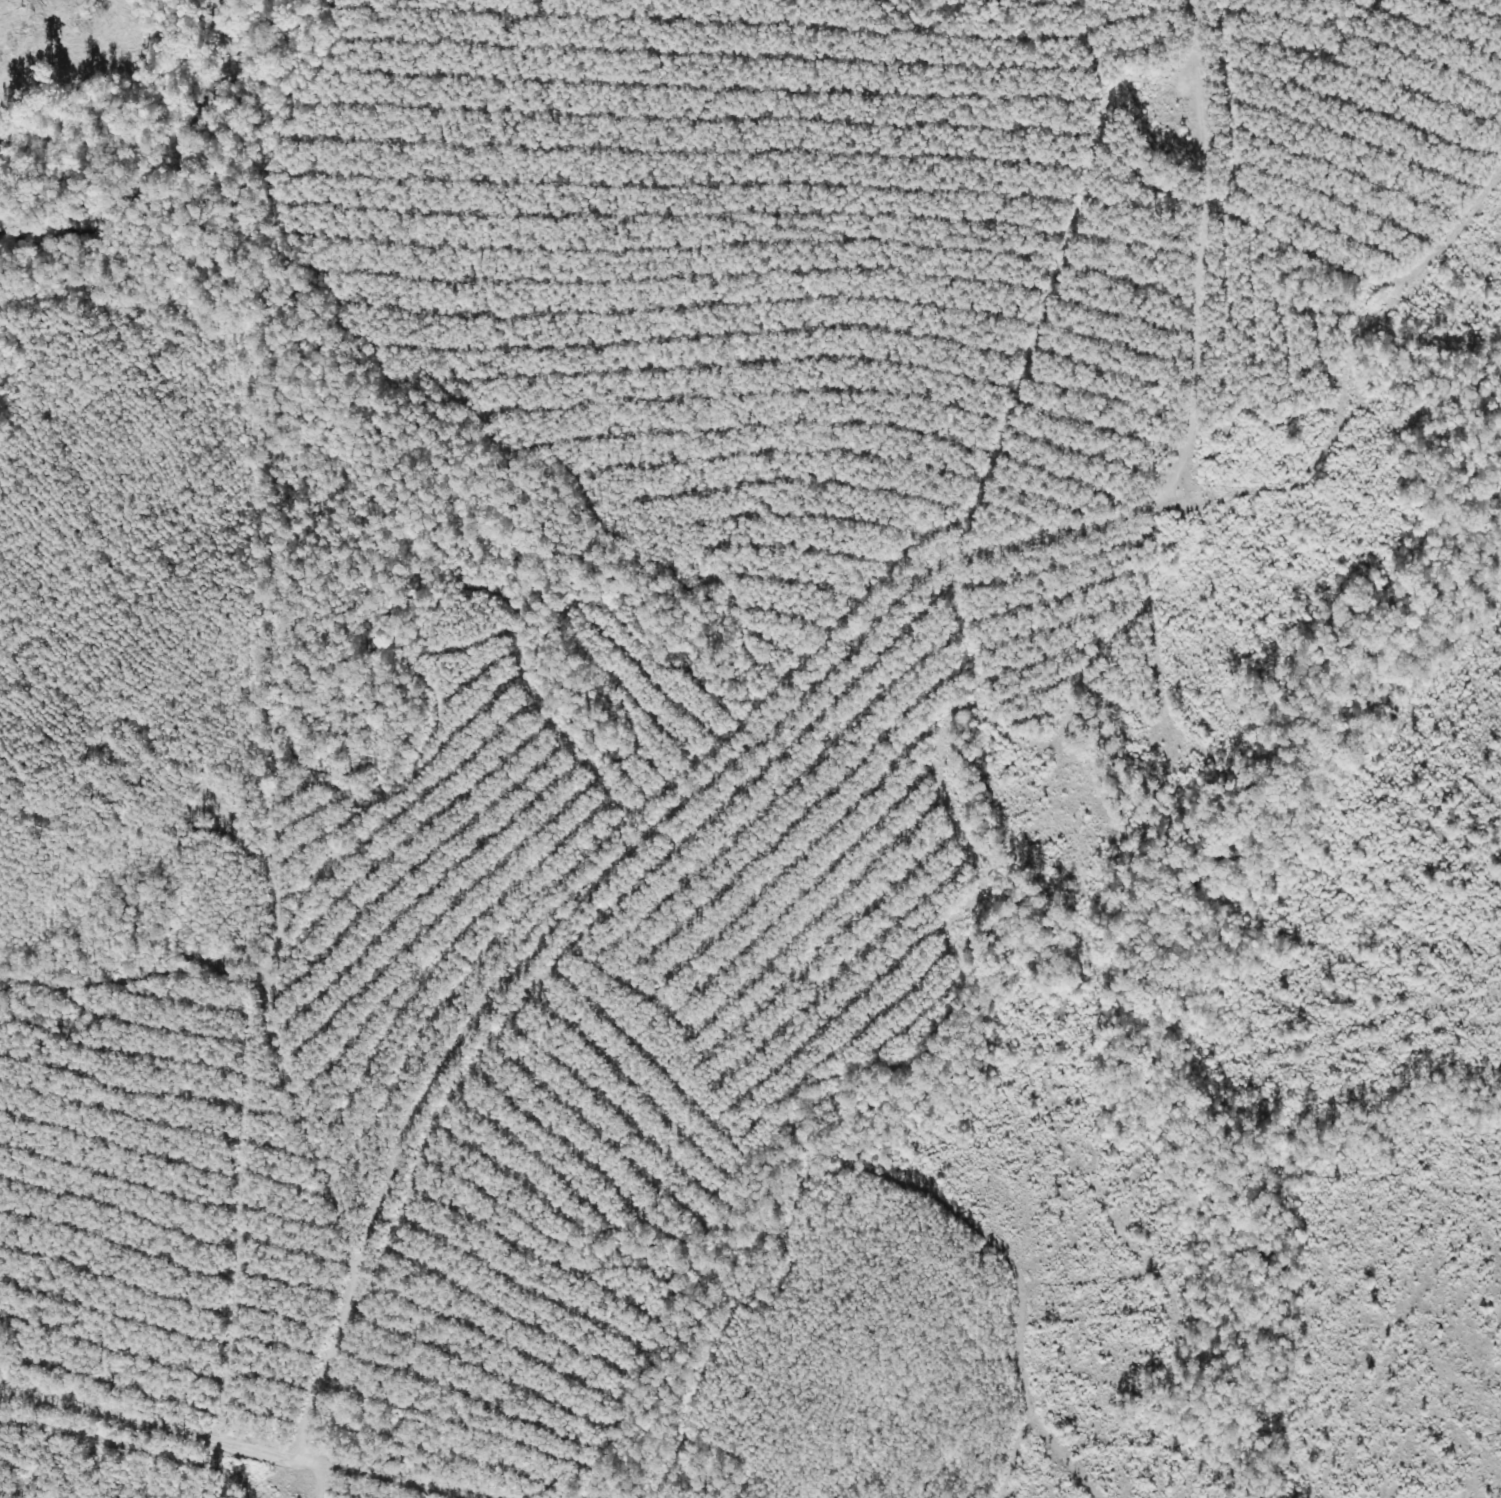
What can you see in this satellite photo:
road: (674, 344)
road: (1093, 565)
road: (251, 660)
road: (408, 1152)
road: (159, 1435)
road: (368, 1478)

